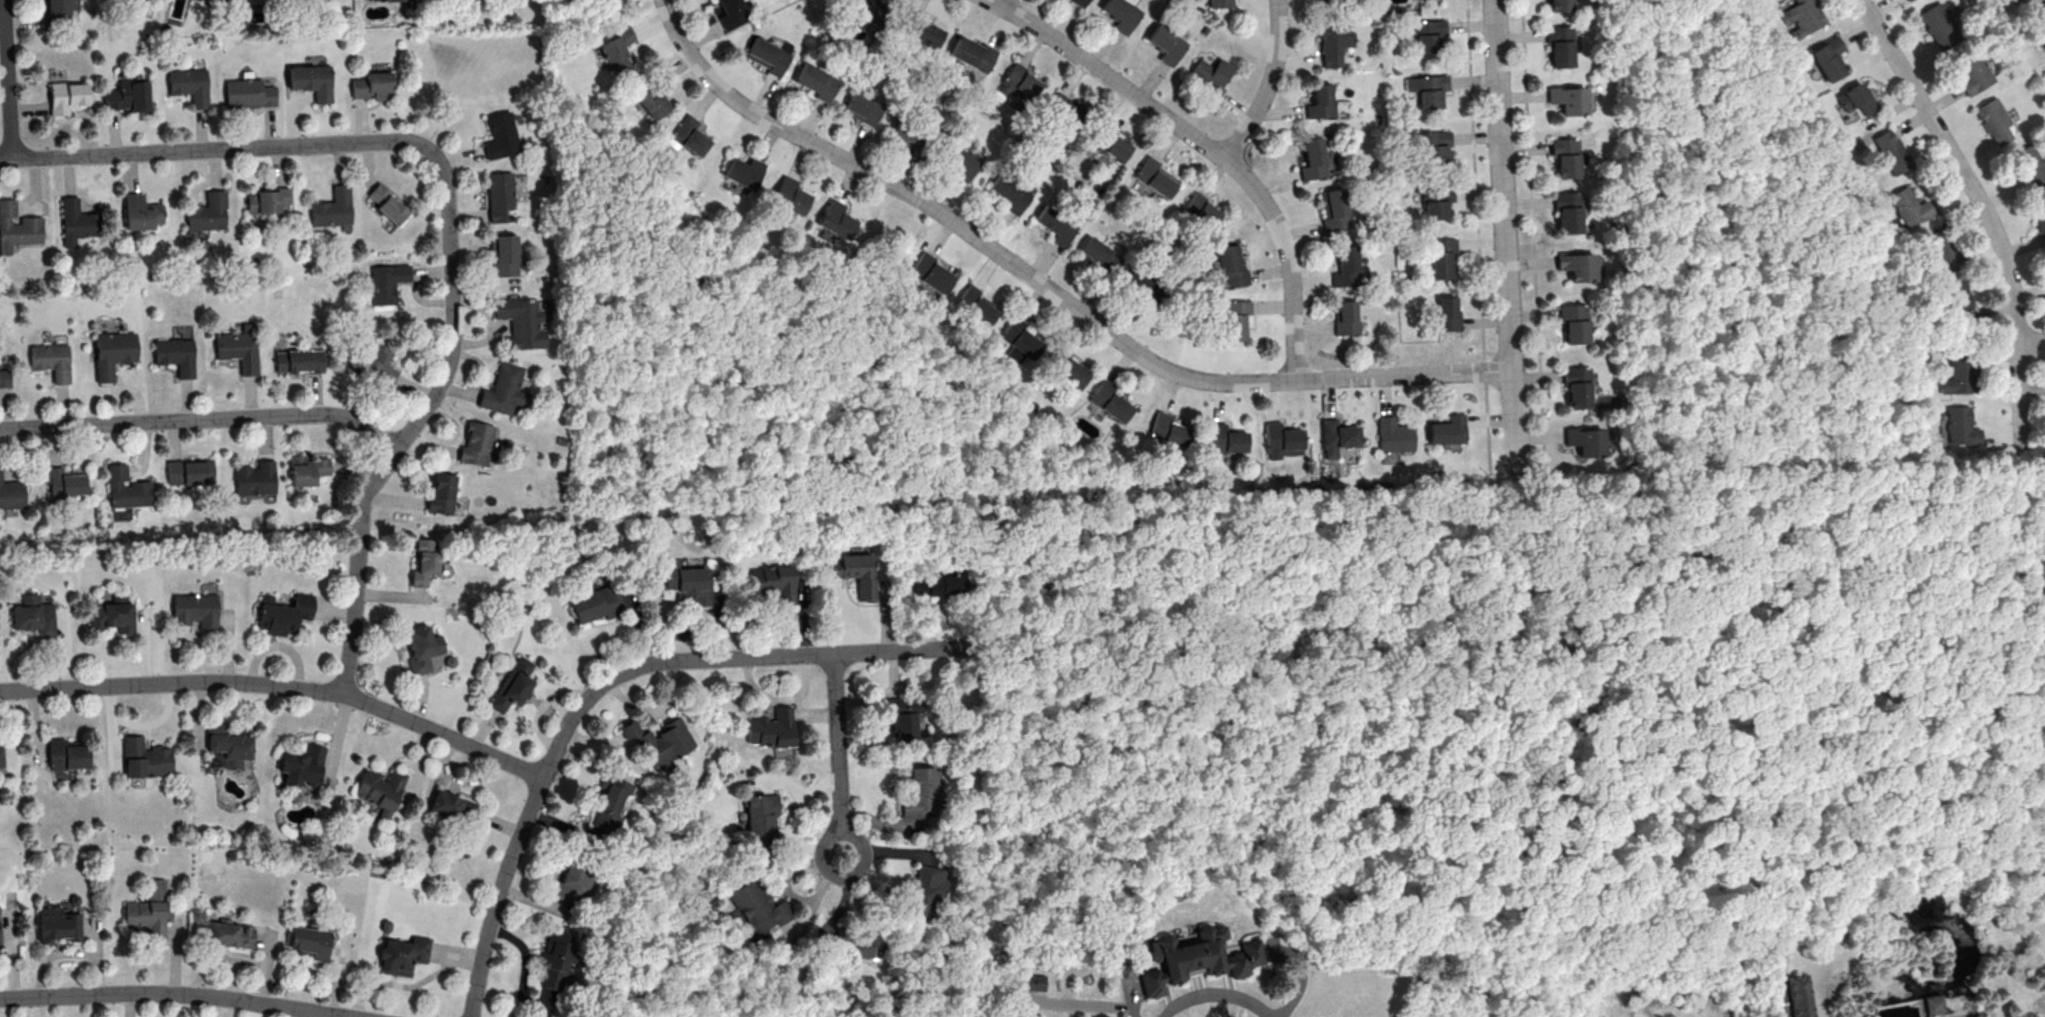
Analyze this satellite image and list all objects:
building: (379, 0)
building: (1348, 0)
building: (1907, 0)
road: (1002, 1)
building: (1334, 1)
building: (2015, 1)
building: (1078, 3)
building: (1217, 3)
building: (1557, 5)
building: (871, 8)
building: (60, 9)
building: (732, 12)
building: (1119, 14)
building: (1802, 14)
building: (2039, 18)
building: (912, 20)
building: (1940, 25)
building: (928, 33)
building: (1425, 35)
building: (1331, 41)
building: (1164, 44)
building: (1557, 44)
building: (618, 49)
building: (973, 53)
building: (770, 55)
building: (1827, 56)
building: (1972, 71)
road: (10, 79)
building: (311, 80)
building: (1206, 80)
building: (818, 81)
building: (1019, 81)
road: (1270, 84)
building: (374, 85)
building: (189, 86)
building: (1428, 90)
building: (249, 93)
building: (128, 95)
building: (67, 96)
building: (1570, 99)
building: (1320, 100)
building: (652, 101)
building: (1856, 105)
building: (864, 108)
building: (1065, 110)
building: (1995, 121)
building: (501, 135)
building: (691, 135)
building: (906, 137)
building: (1432, 145)
road: (1212, 146)
road: (213, 148)
building: (1110, 148)
building: (1889, 152)
building: (1563, 156)
building: (1314, 159)
building: (961, 161)
building: (2030, 164)
building: (744, 171)
building: (1156, 177)
building: (1011, 192)
building: (791, 195)
building: (501, 197)
building: (268, 201)
building: (1434, 202)
building: (387, 203)
building: (1908, 206)
building: (333, 208)
building: (1335, 209)
road: (1984, 209)
building: (1566, 210)
building: (142, 212)
building: (208, 212)
building: (1206, 212)
building: (837, 219)
building: (78, 220)
building: (1057, 224)
building: (17, 228)
road: (1506, 236)
building: (1101, 254)
building: (1438, 254)
building: (504, 255)
building: (1578, 265)
building: (1231, 266)
building: (1347, 266)
building: (932, 273)
building: (388, 282)
building: (1141, 283)
road: (1049, 287)
building: (1957, 301)
road: (452, 303)
building: (976, 304)
building: (1448, 313)
building: (1346, 317)
building: (1236, 319)
building: (523, 321)
building: (1572, 323)
building: (1022, 338)
road: (2032, 341)
building: (239, 350)
building: (112, 352)
building: (175, 355)
building: (299, 360)
building: (51, 361)
building: (379, 361)
building: (1959, 372)
building: (1073, 373)
building: (5, 377)
building: (1574, 385)
building: (506, 388)
building: (1111, 400)
road: (204, 418)
building: (1959, 426)
building: (1169, 429)
building: (1448, 429)
building: (1282, 438)
building: (1227, 439)
building: (1586, 440)
building: (1340, 441)
building: (482, 444)
building: (307, 469)
building: (190, 471)
road: (1516, 472)
building: (256, 478)
building: (65, 482)
building: (128, 491)
road: (2027, 491)
building: (11, 494)
building: (446, 495)
road: (357, 567)
road: (1356, 567)
building: (857, 572)
building: (775, 581)
building: (689, 582)
building: (945, 582)
building: (598, 602)
building: (196, 610)
building: (283, 613)
building: (113, 614)
building: (34, 615)
building: (425, 649)
road: (610, 680)
road: (281, 684)
building: (513, 685)
building: (904, 716)
building: (773, 731)
building: (661, 741)
building: (227, 746)
building: (67, 753)
building: (1, 754)
road: (839, 757)
building: (145, 758)
building: (302, 765)
building: (380, 788)
building: (920, 793)
building: (610, 800)
building: (452, 805)
road: (1637, 808)
building: (761, 817)
road: (1808, 818)
road: (791, 821)
building: (575, 883)
building: (926, 890)
building: (760, 907)
building: (149, 910)
building: (58, 924)
building: (229, 933)
road: (1760, 939)
building: (311, 941)
building: (868, 946)
building: (556, 950)
building: (402, 955)
building: (1200, 959)
road: (1763, 962)
road: (177, 992)
building: (1799, 995)
road: (1133, 996)
road: (1219, 996)
road: (1771, 1001)
road: (1070, 1003)
building: (1933, 1003)
building: (1593, 1016)

